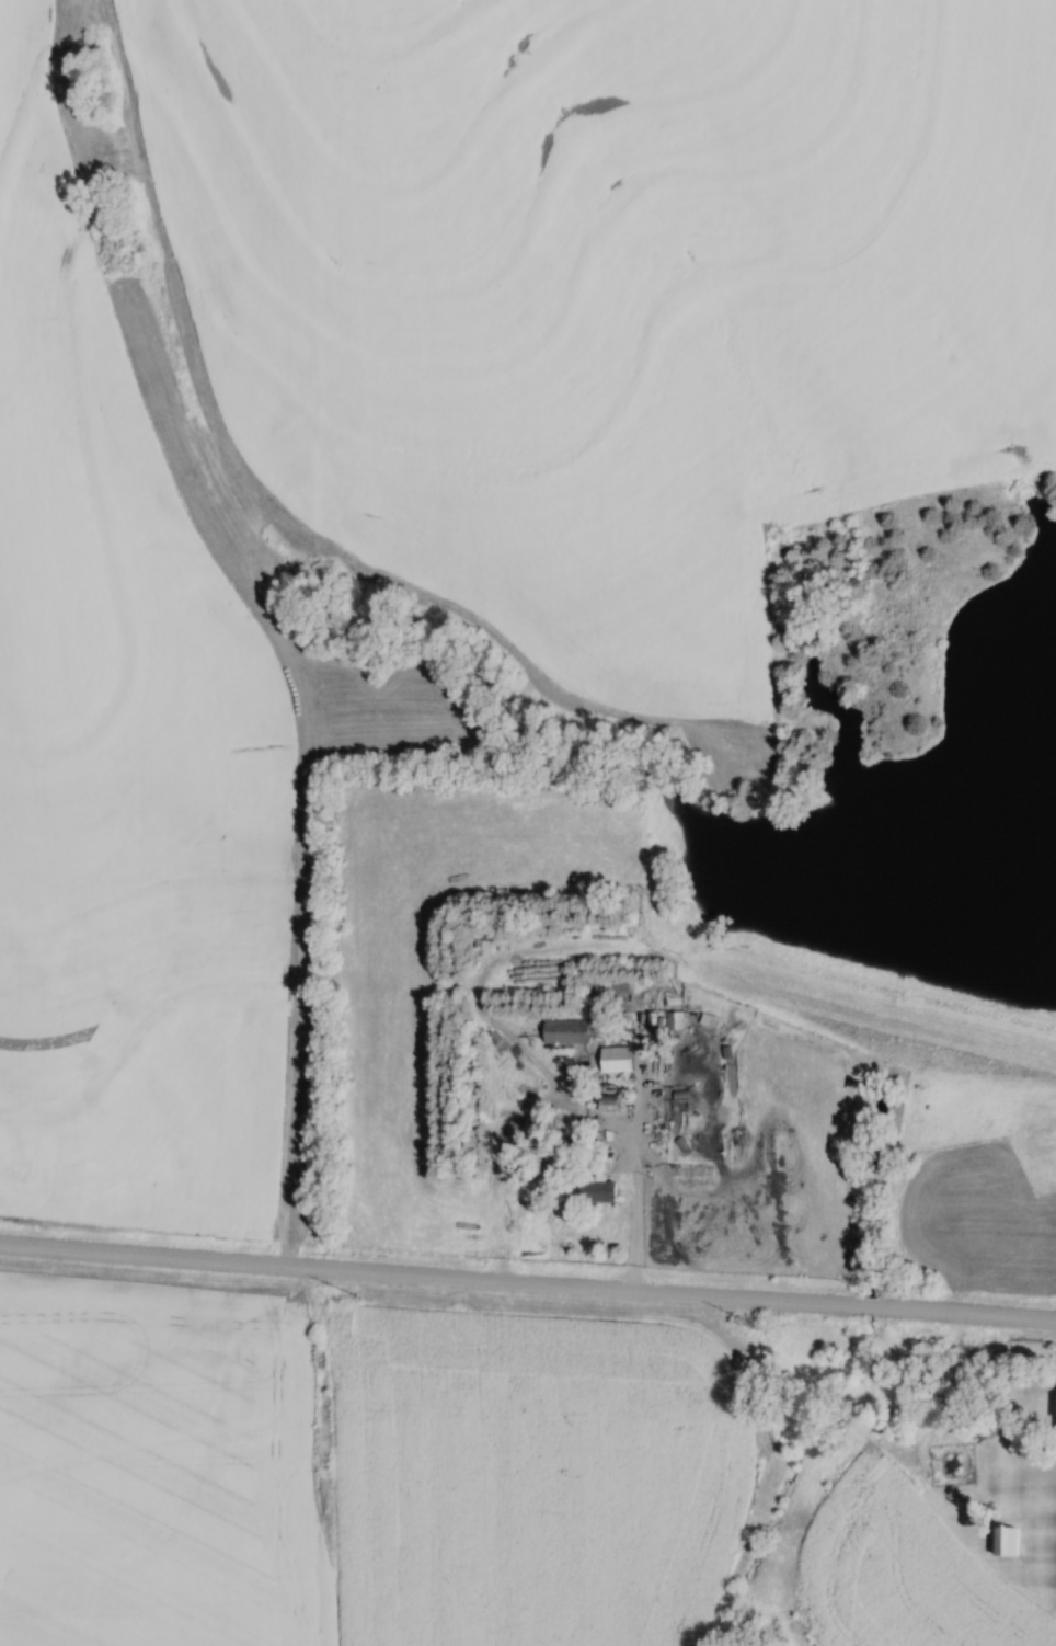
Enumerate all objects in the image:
building: (673, 1019)
building: (562, 1030)
building: (613, 1059)
building: (605, 1102)
building: (593, 1192)
road: (641, 1204)
road: (527, 1283)
building: (1055, 1411)

